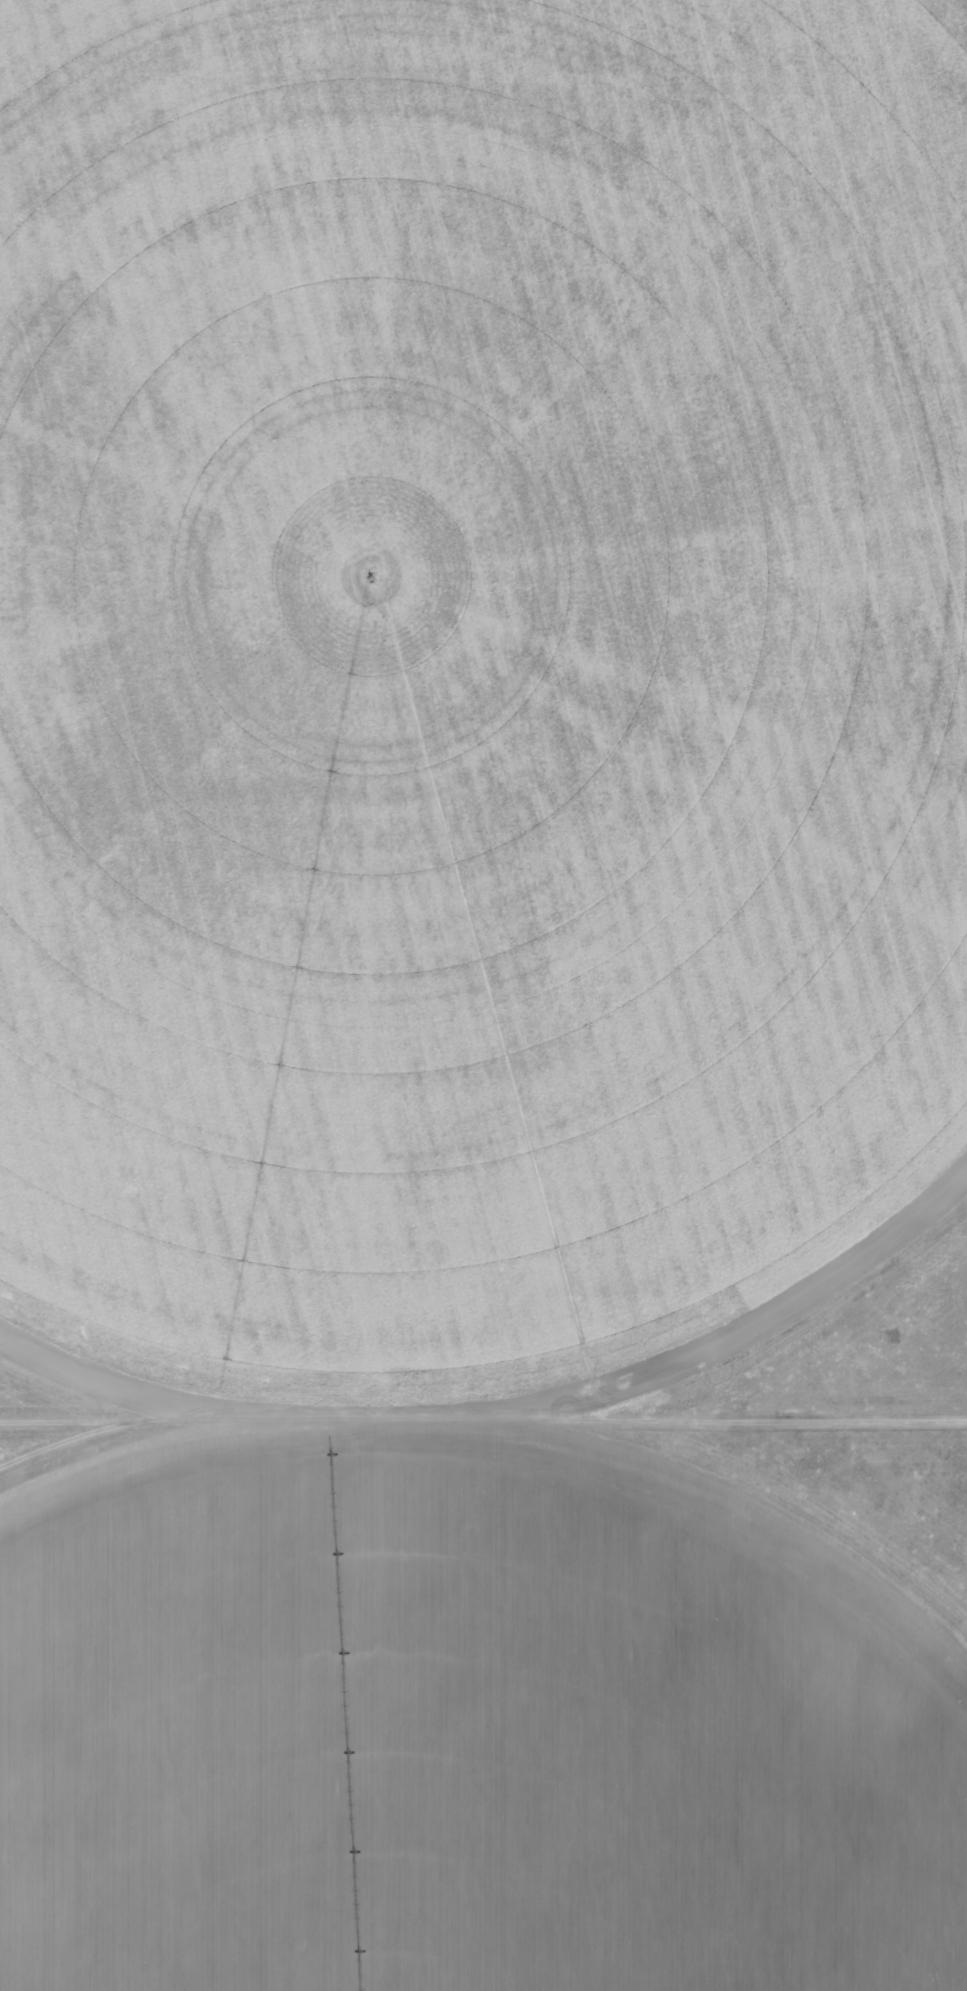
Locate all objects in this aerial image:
road: (655, 362)
road: (483, 1350)

